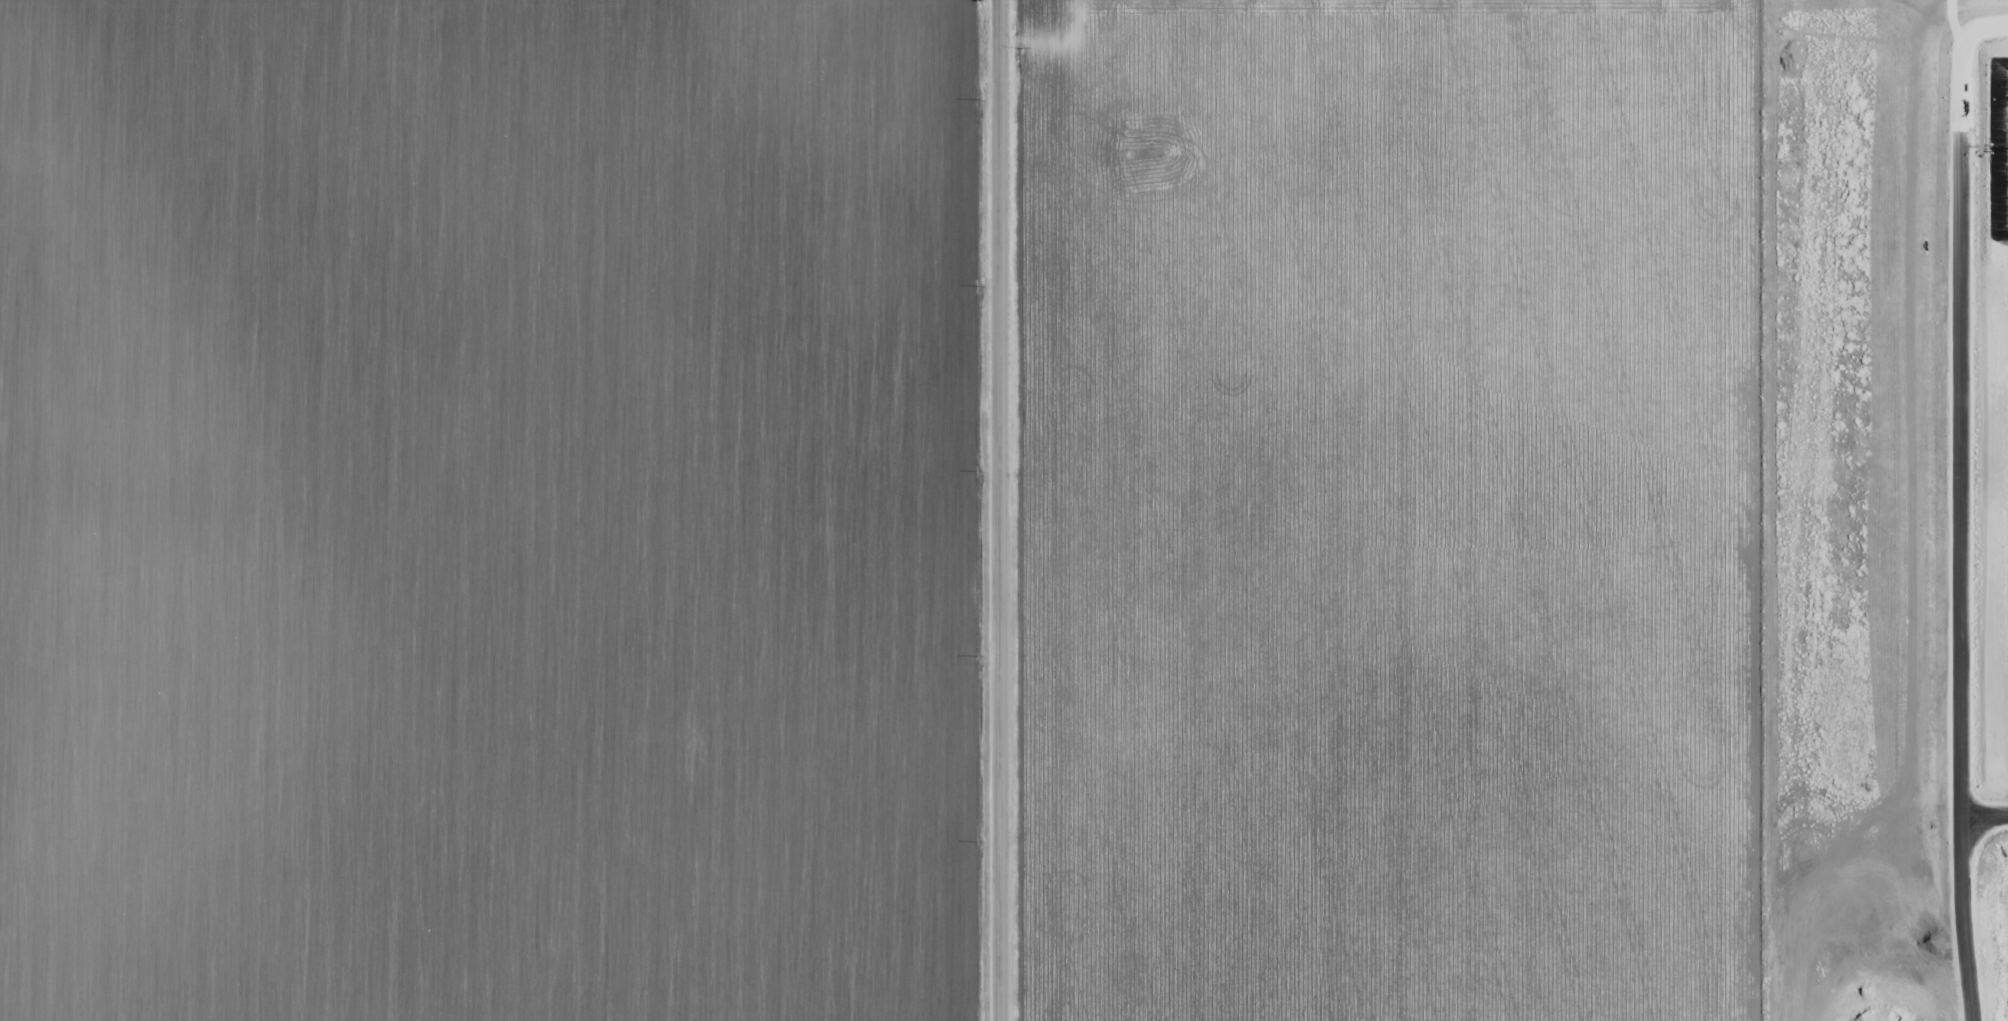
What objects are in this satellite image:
building: (1056, 7)
building: (1096, 38)
road: (997, 510)

